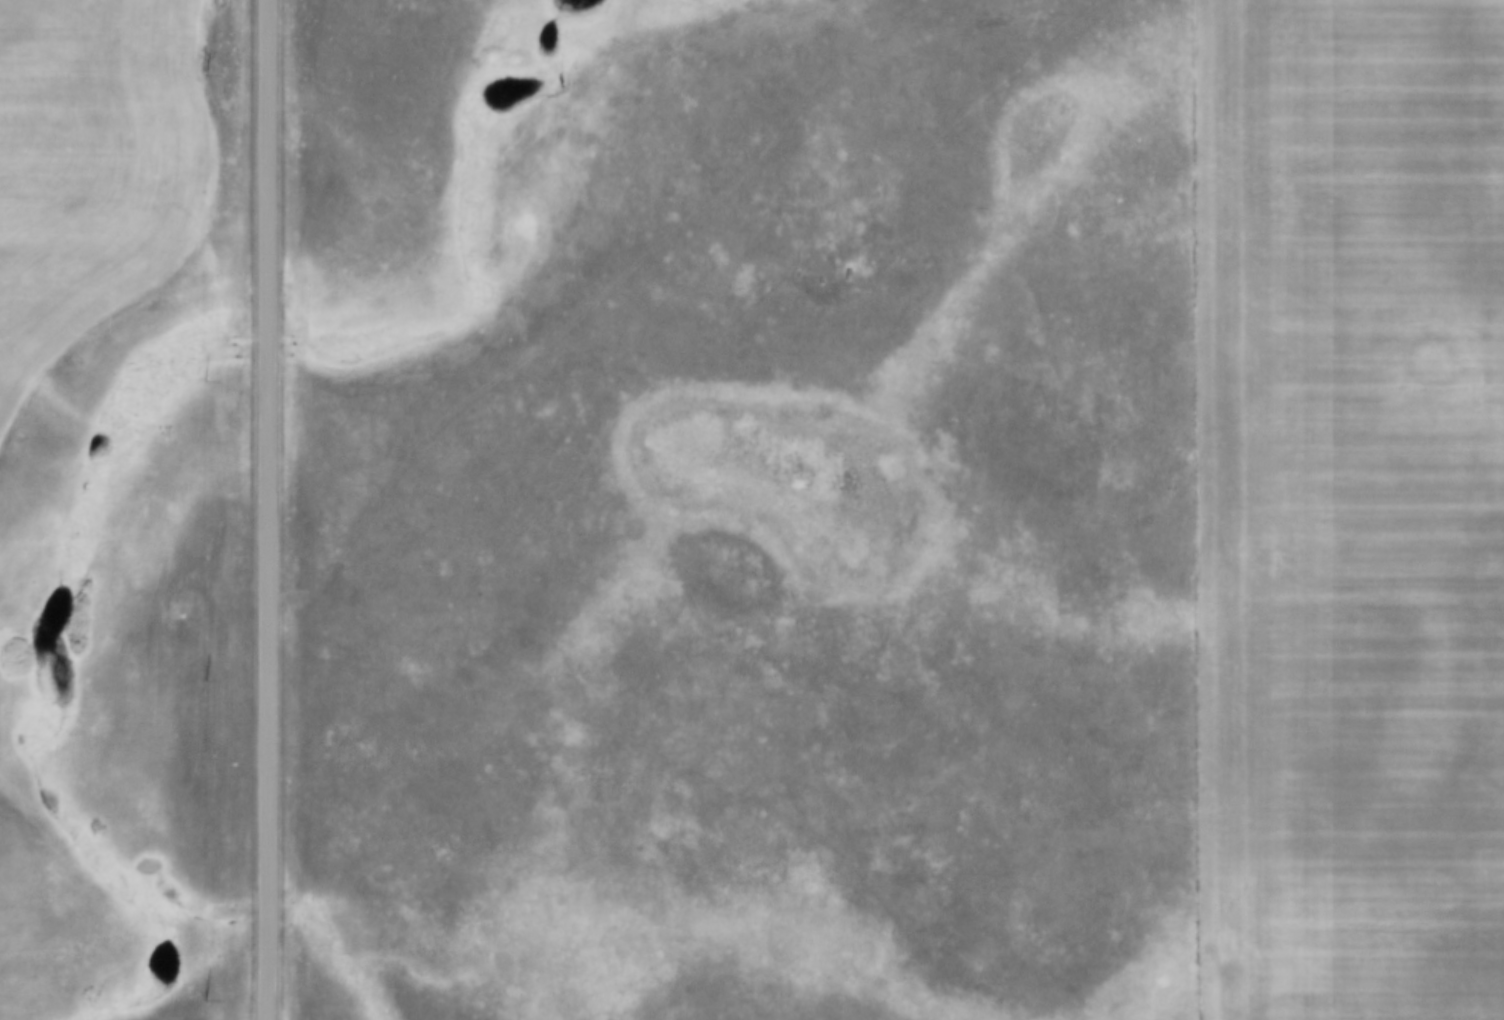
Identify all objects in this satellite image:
road: (271, 510)

